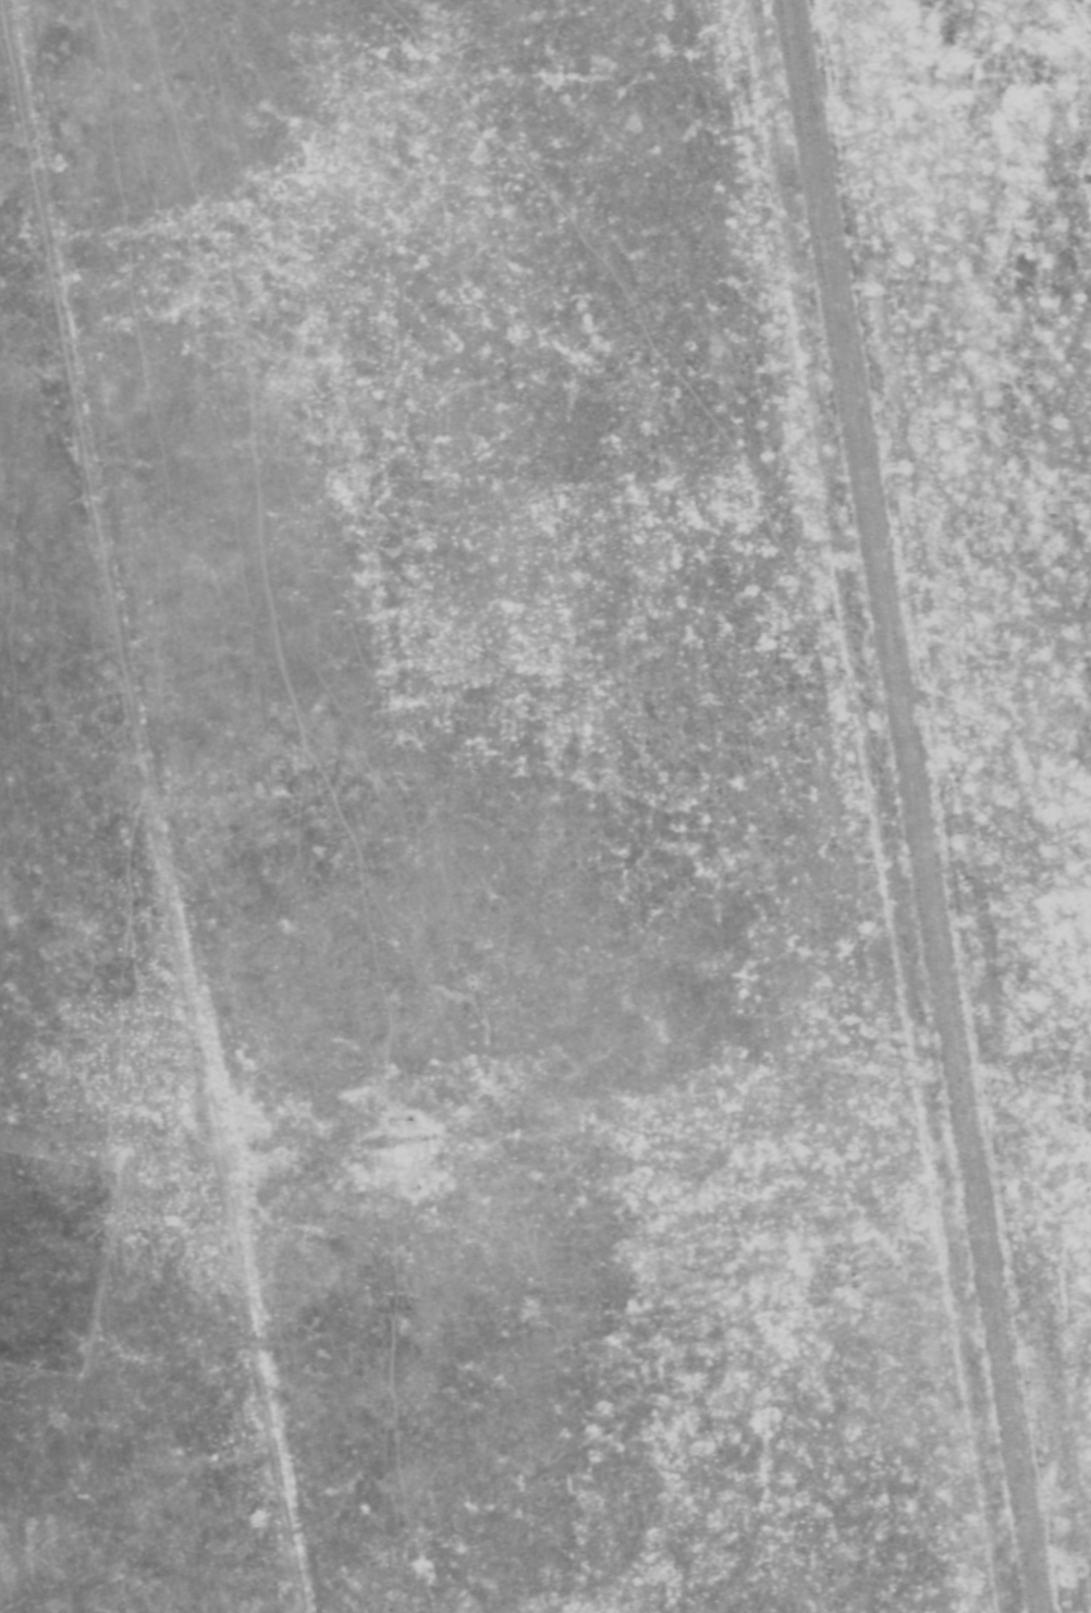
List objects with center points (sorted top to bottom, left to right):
road: (112, 612)

